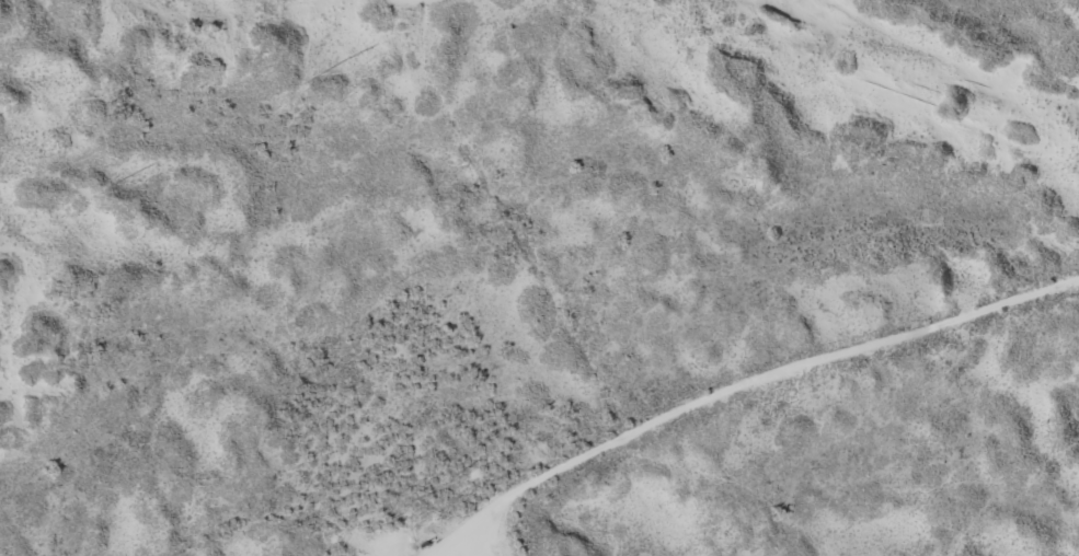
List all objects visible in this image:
road: (463, 11)
road: (665, 377)

